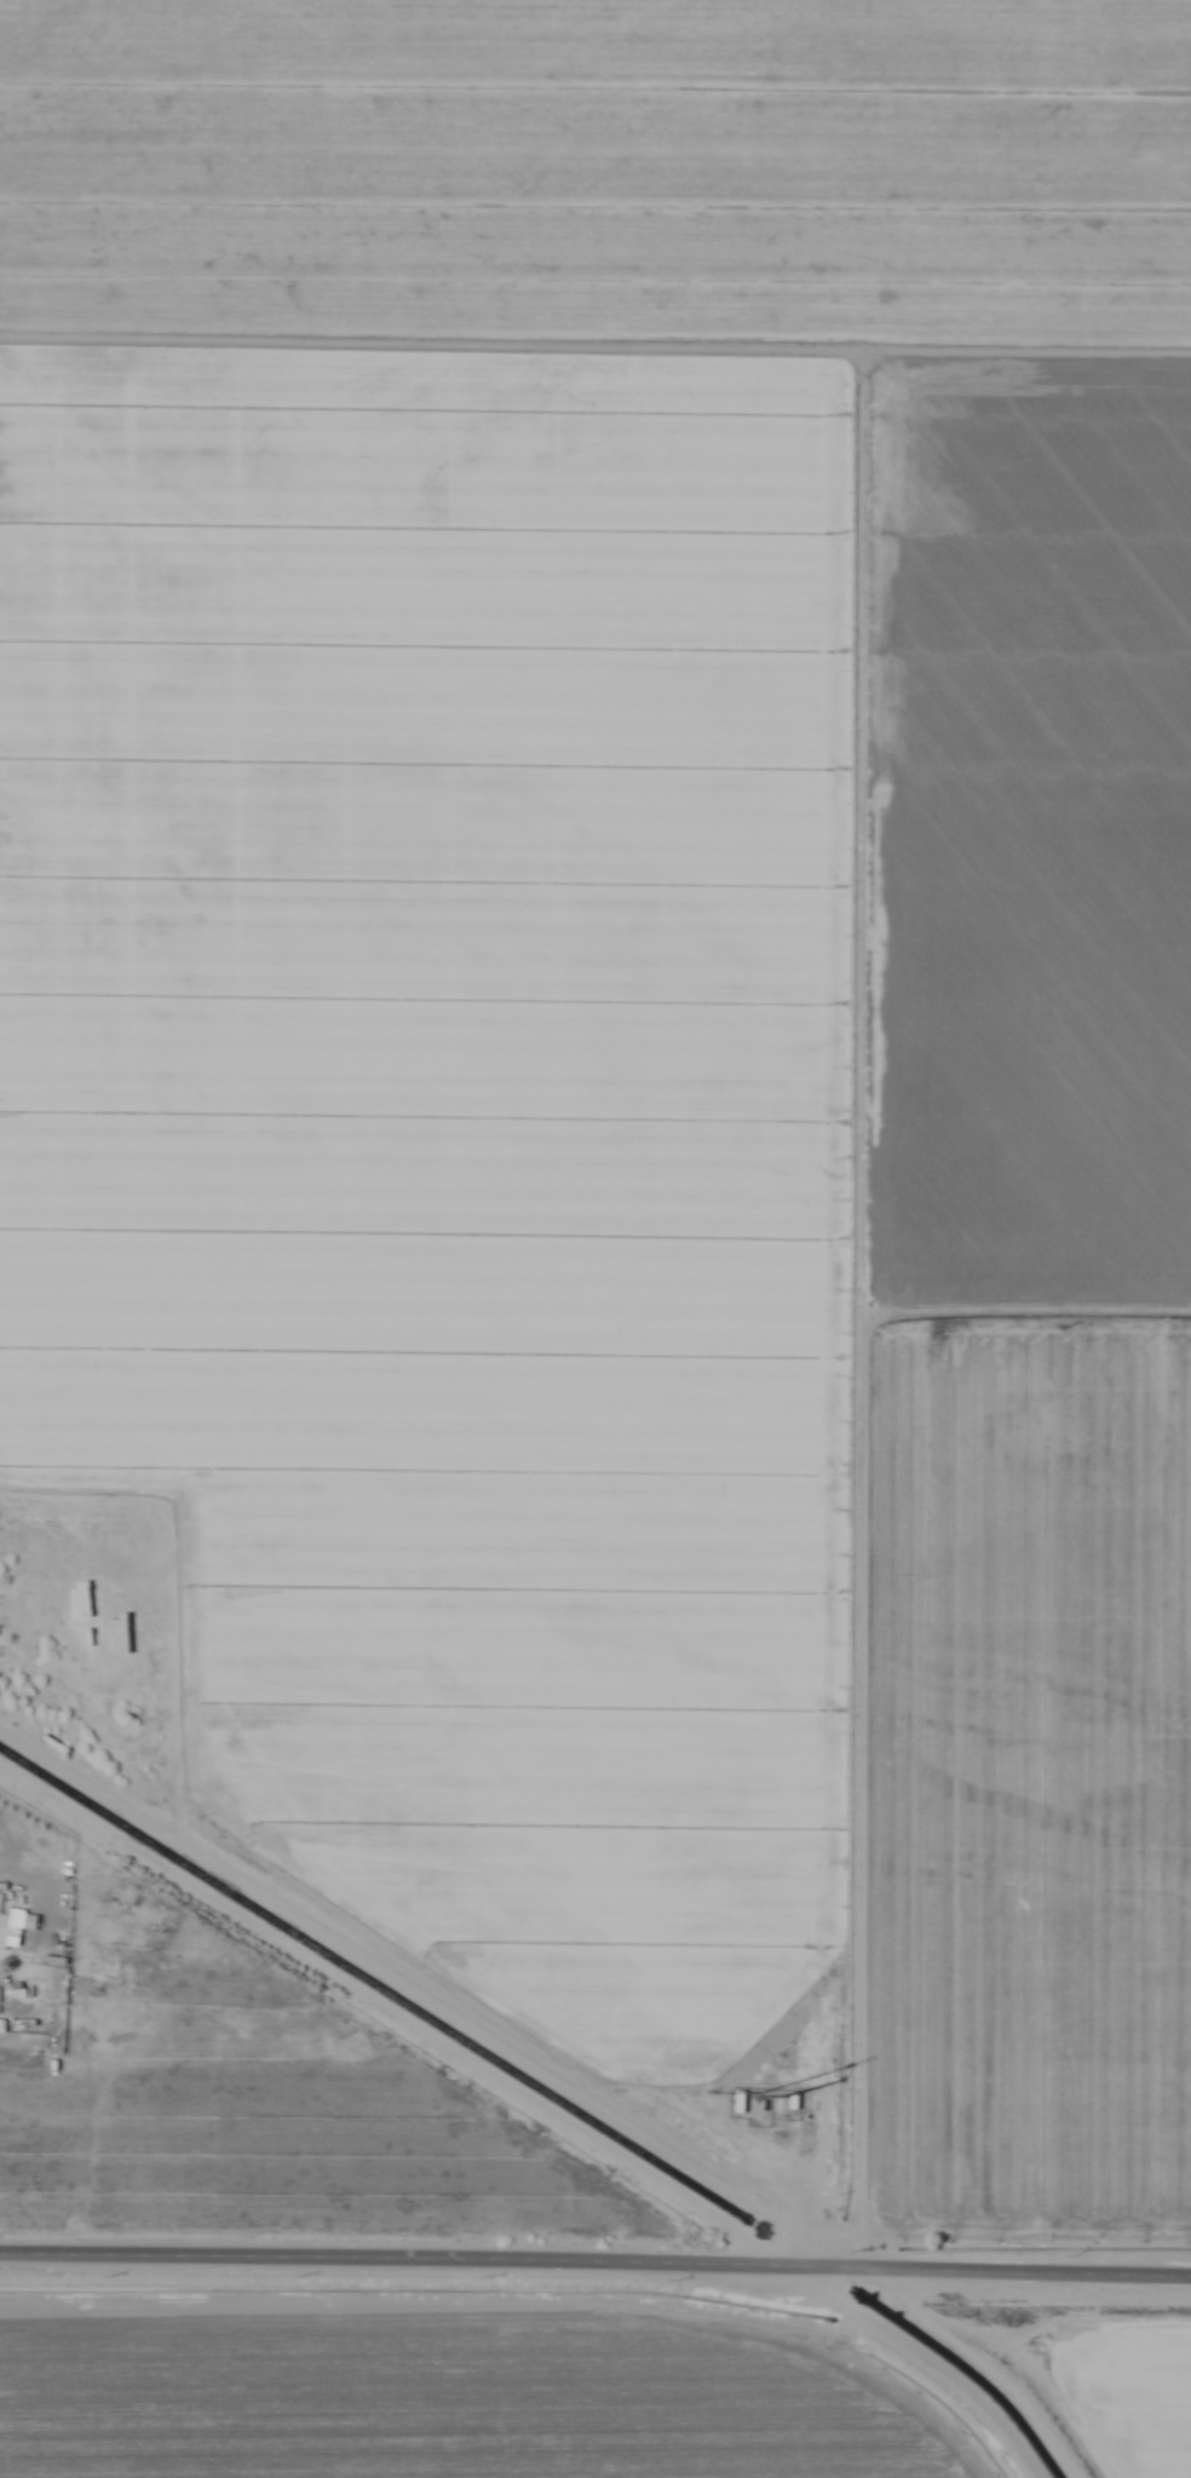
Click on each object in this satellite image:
road: (565, 2072)
road: (595, 2253)

